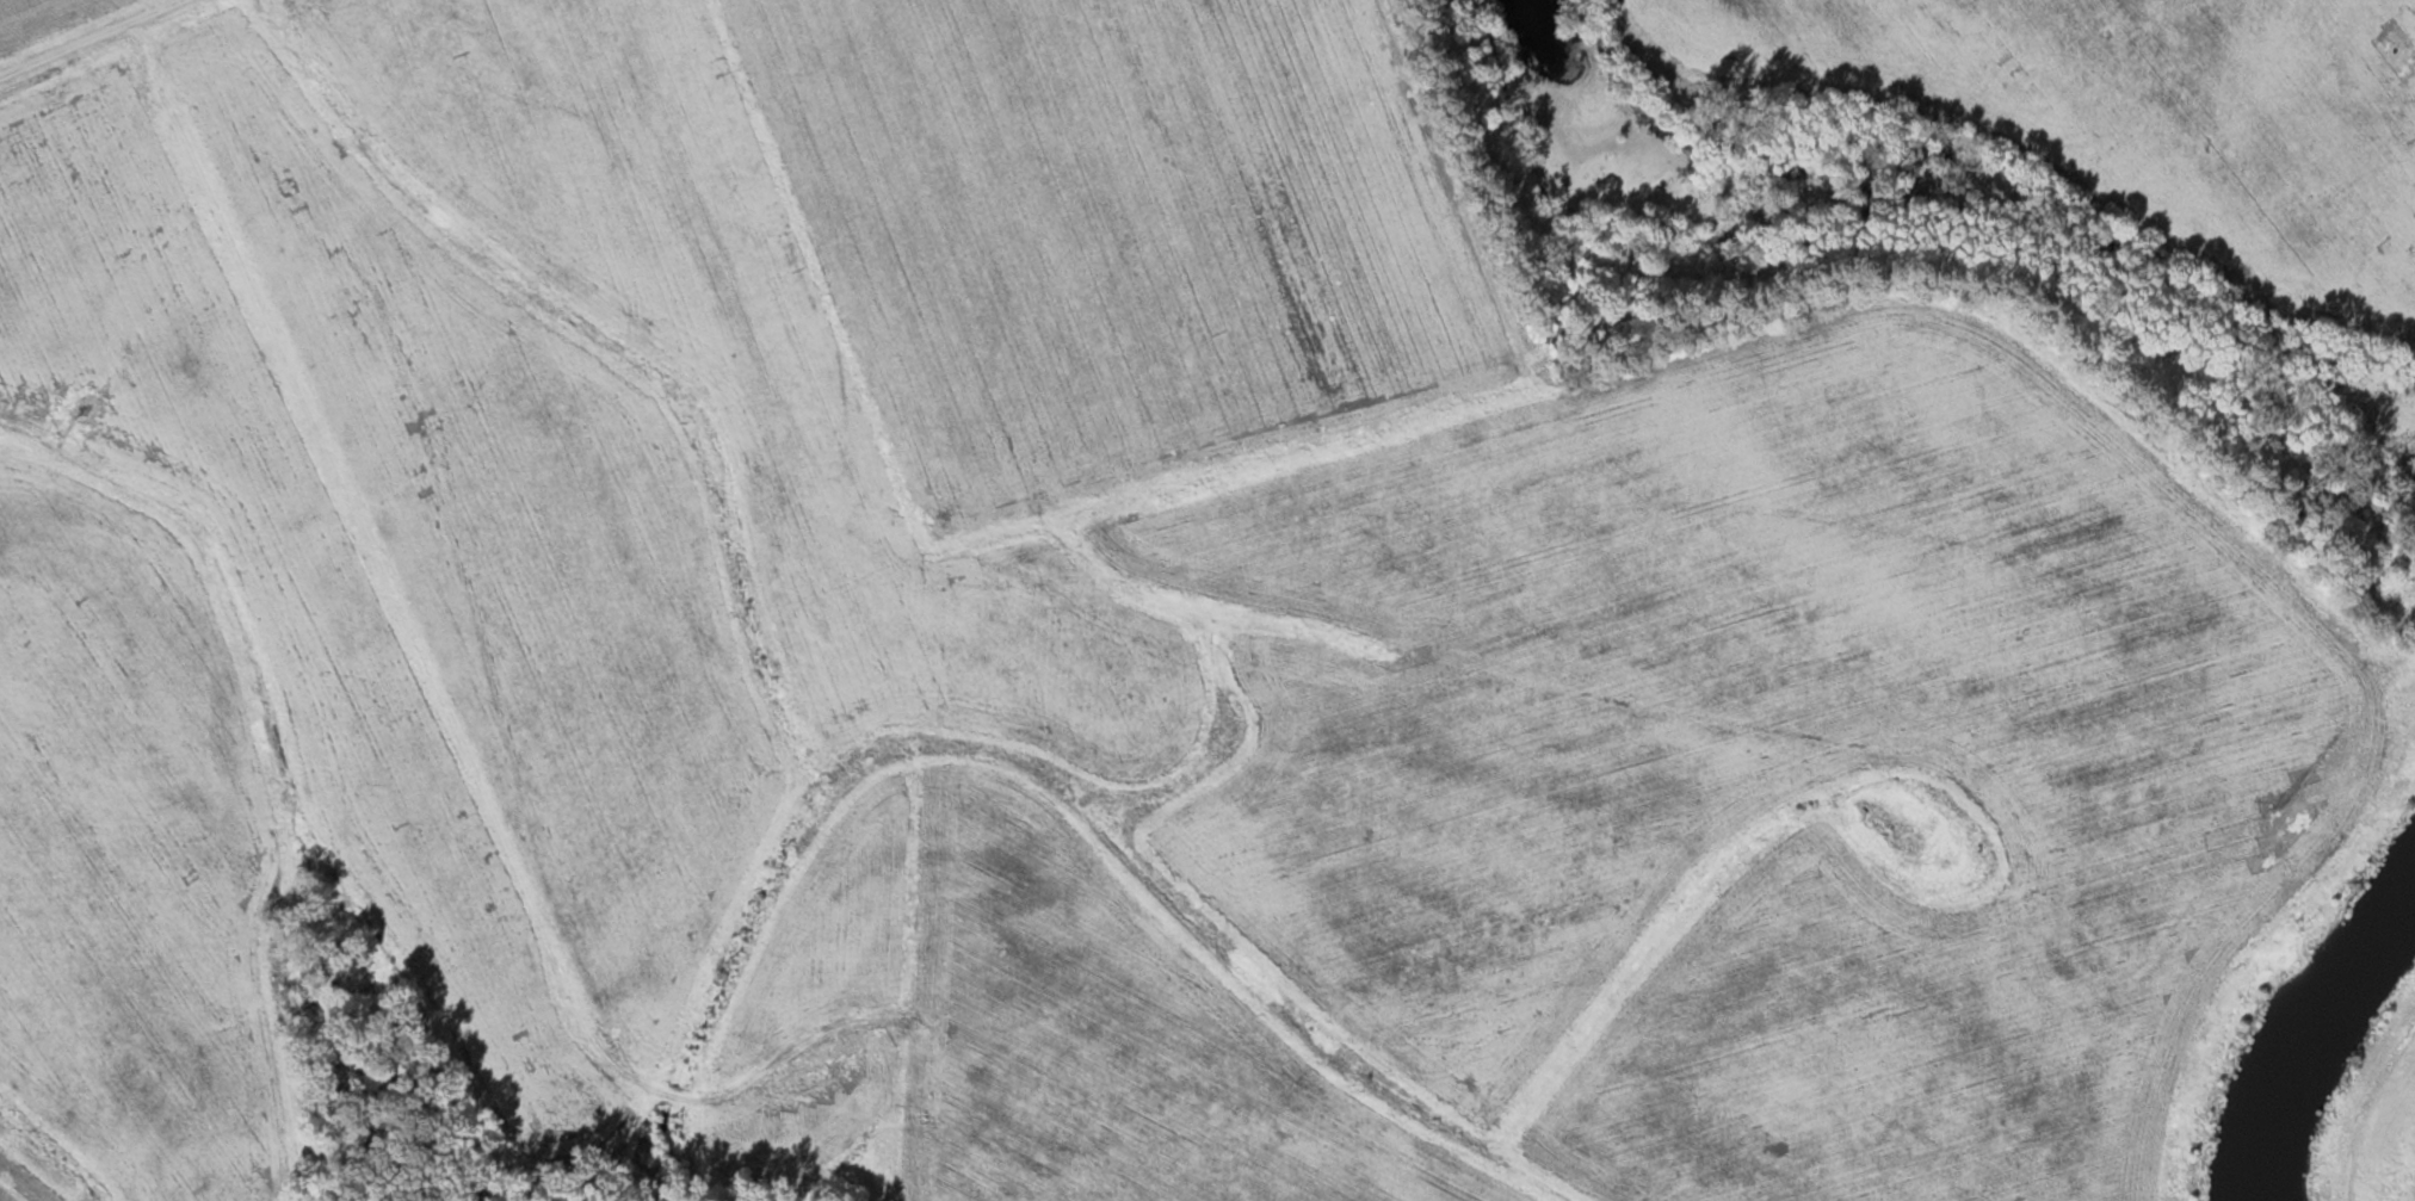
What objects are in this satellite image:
road: (79, 32)

